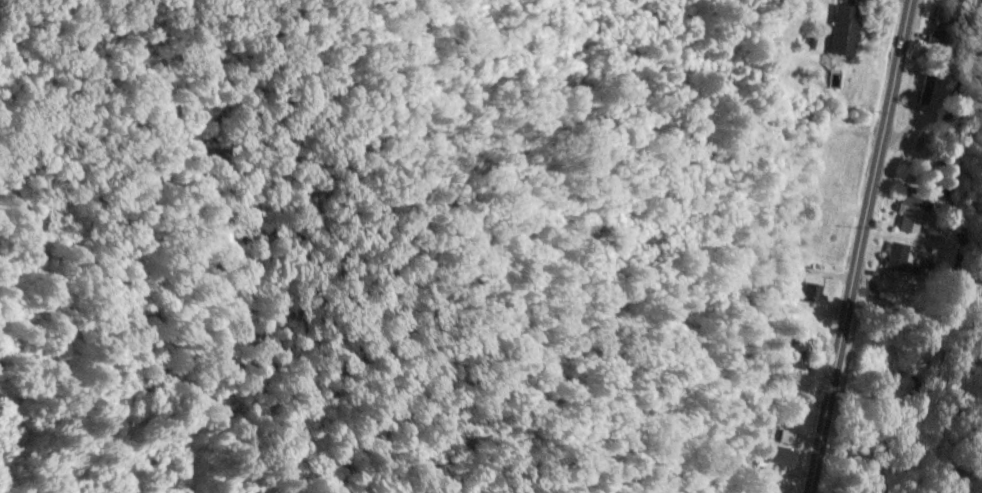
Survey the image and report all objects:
building: (841, 29)
building: (908, 218)
road: (855, 246)
building: (896, 256)
building: (805, 292)
building: (795, 355)
building: (775, 457)

